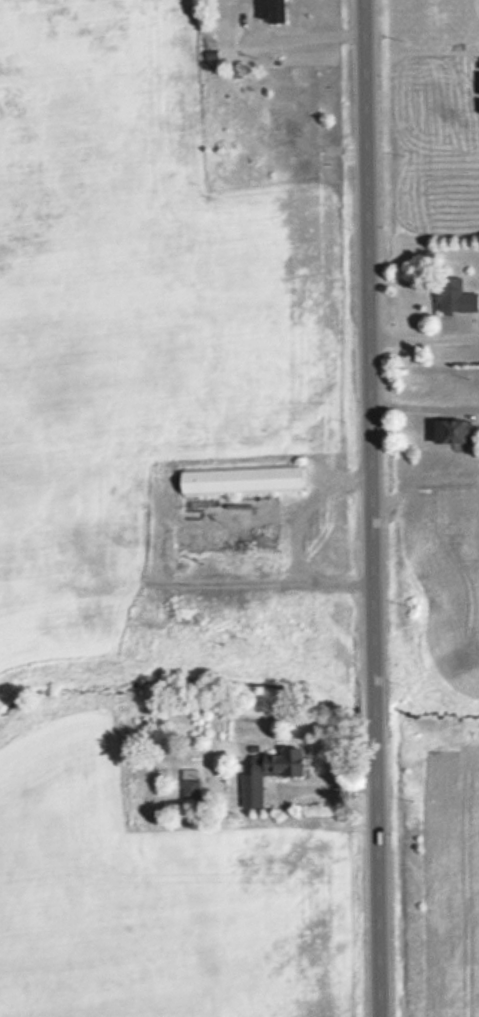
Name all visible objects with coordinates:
building: (270, 10)
building: (454, 296)
building: (453, 431)
building: (241, 481)
road: (373, 508)
building: (212, 515)
building: (269, 773)
building: (190, 789)

